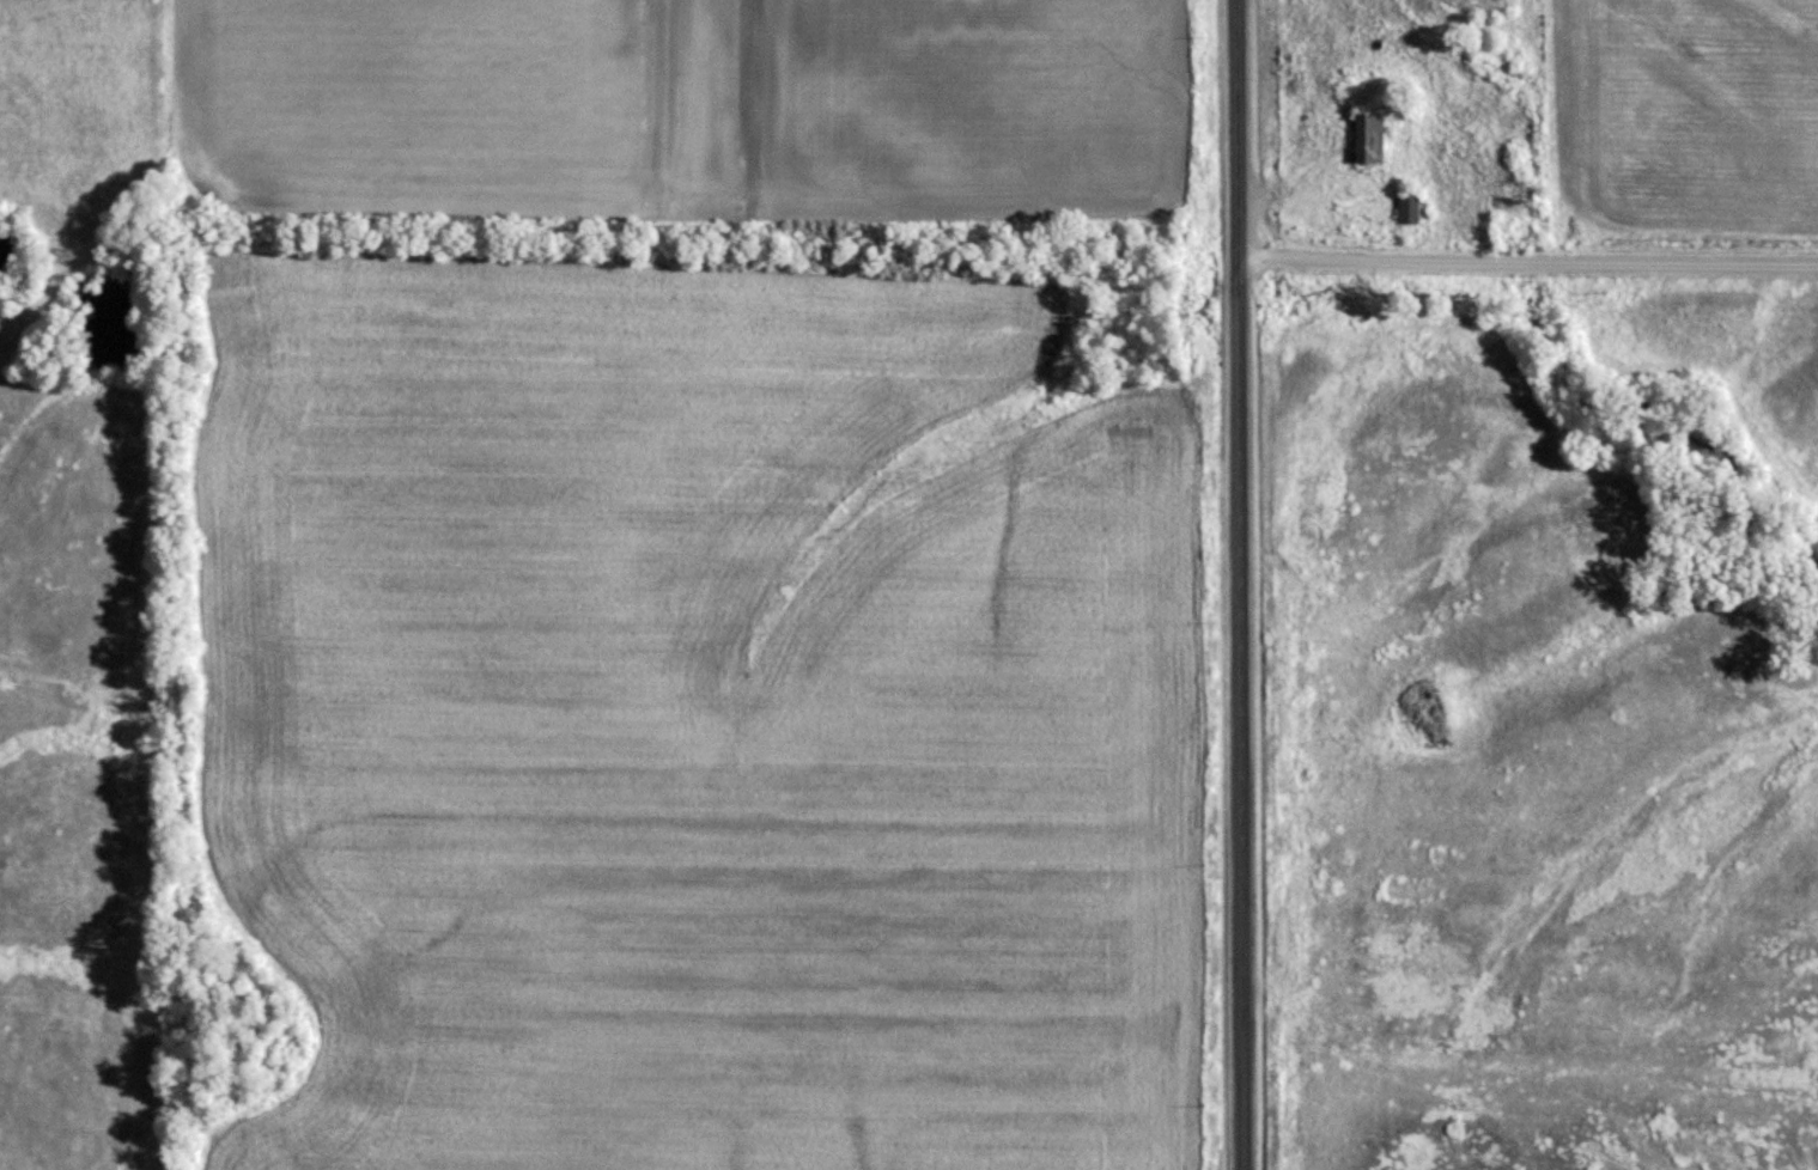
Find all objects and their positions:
building: (1351, 83)
building: (1367, 136)
road: (1528, 262)
road: (1242, 584)

